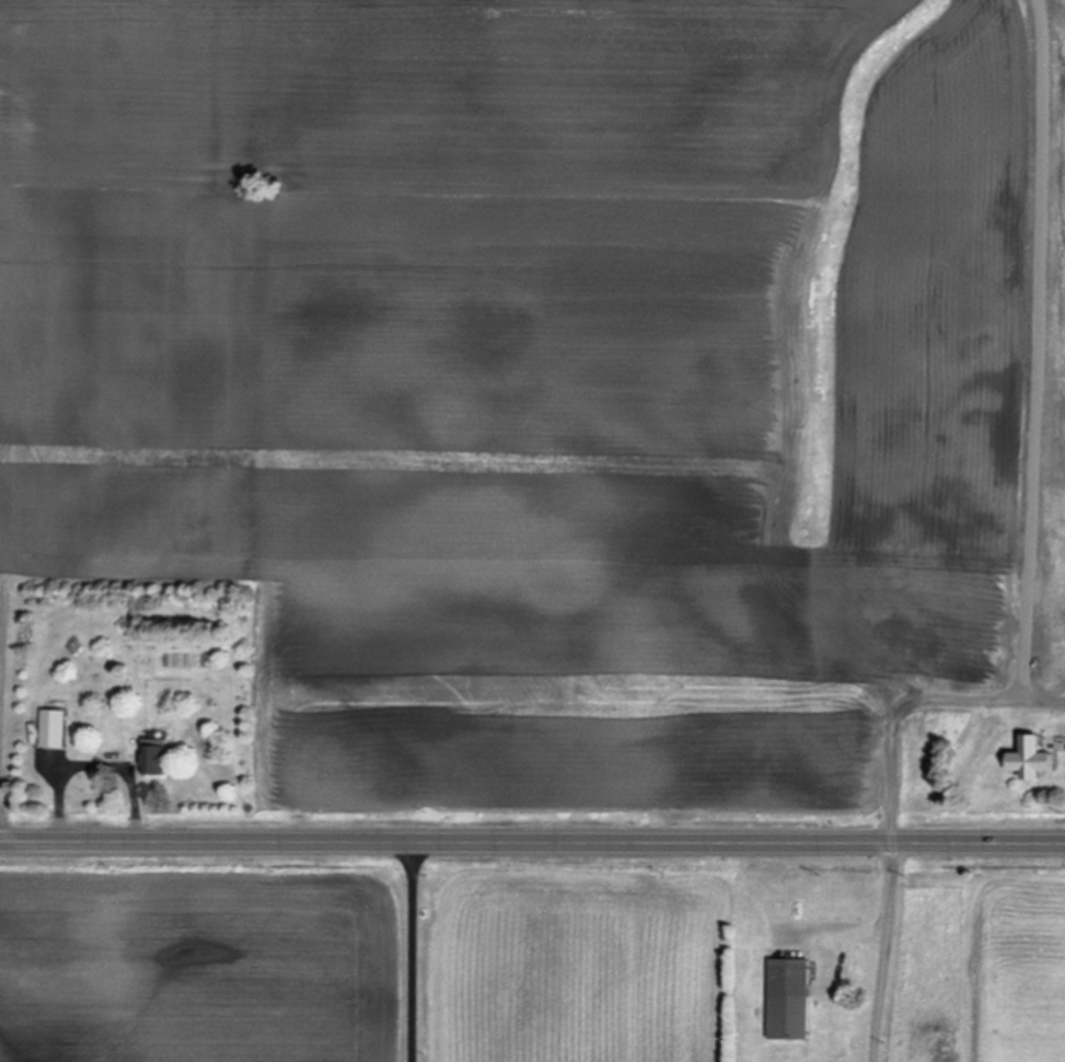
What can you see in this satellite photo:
road: (913, 697)
building: (56, 731)
building: (160, 760)
building: (1038, 762)
road: (93, 766)
road: (532, 840)
road: (414, 950)
road: (885, 951)
building: (794, 1001)

